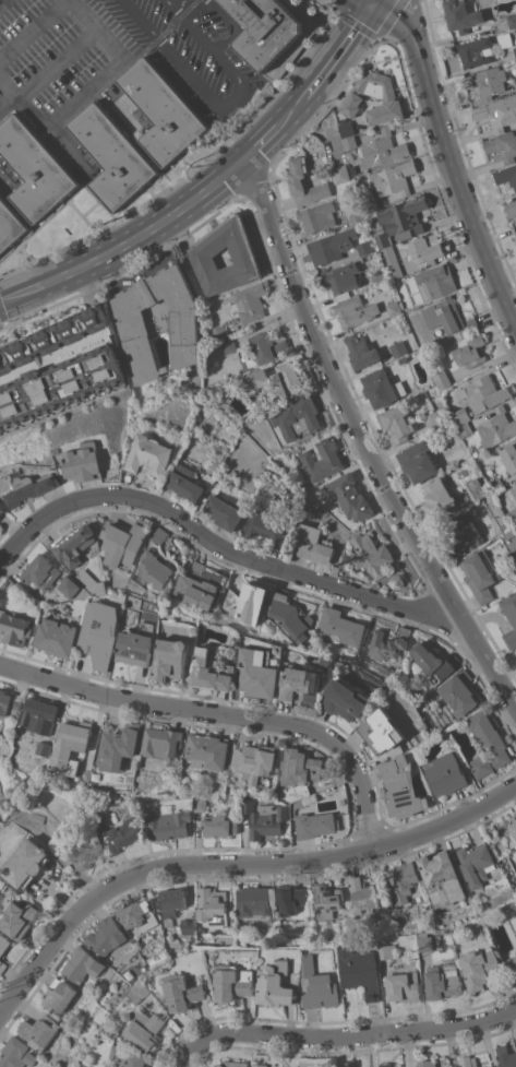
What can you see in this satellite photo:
road: (0, 0)
road: (372, 0)
road: (373, 0)
traffic signals: (373, 1)
road: (172, 5)
road: (182, 5)
road: (223, 14)
building: (461, 15)
road: (142, 19)
building: (512, 20)
road: (33, 28)
road: (196, 31)
building: (273, 31)
road: (370, 33)
road: (226, 39)
building: (515, 49)
building: (476, 51)
road: (344, 55)
road: (321, 56)
road: (233, 68)
building: (488, 81)
road: (199, 82)
road: (87, 87)
building: (353, 96)
road: (7, 102)
road: (323, 105)
building: (163, 110)
building: (499, 112)
building: (346, 126)
road: (252, 133)
road: (276, 137)
building: (349, 142)
building: (503, 145)
building: (382, 149)
road: (448, 155)
building: (112, 156)
road: (240, 161)
building: (34, 168)
building: (340, 173)
building: (506, 175)
building: (393, 178)
building: (304, 182)
building: (370, 201)
building: (511, 206)
building: (356, 214)
building: (317, 216)
building: (404, 216)
building: (10, 226)
road: (122, 230)
building: (515, 235)
building: (331, 246)
building: (363, 247)
building: (427, 248)
building: (386, 249)
road: (130, 251)
building: (204, 251)
road: (125, 271)
building: (379, 276)
building: (340, 277)
building: (437, 278)
building: (249, 301)
building: (394, 307)
building: (353, 310)
building: (452, 317)
road: (2, 318)
building: (218, 332)
building: (135, 334)
building: (52, 337)
building: (227, 344)
building: (398, 347)
building: (264, 349)
building: (361, 351)
building: (470, 351)
building: (403, 359)
building: (442, 378)
building: (254, 379)
building: (285, 381)
building: (60, 383)
building: (382, 387)
road: (337, 392)
building: (483, 393)
building: (297, 417)
building: (433, 419)
building: (145, 420)
building: (461, 420)
building: (396, 423)
building: (496, 427)
building: (149, 453)
building: (509, 457)
building: (322, 459)
building: (418, 460)
building: (84, 462)
building: (184, 482)
building: (496, 484)
building: (31, 487)
building: (476, 489)
building: (514, 490)
building: (348, 496)
building: (439, 497)
building: (2, 510)
building: (224, 511)
building: (512, 515)
building: (266, 527)
building: (464, 533)
building: (508, 533)
building: (158, 534)
building: (124, 542)
road: (215, 543)
building: (311, 543)
building: (75, 544)
building: (370, 554)
building: (154, 568)
building: (43, 571)
building: (201, 572)
building: (480, 574)
building: (92, 581)
building: (195, 586)
building: (75, 588)
building: (283, 590)
building: (251, 603)
building: (291, 618)
building: (509, 618)
building: (341, 625)
building: (14, 628)
building: (100, 632)
building: (57, 635)
building: (388, 643)
building: (135, 647)
road: (485, 655)
building: (171, 657)
building: (434, 662)
building: (363, 665)
building: (212, 672)
building: (259, 672)
building: (298, 681)
building: (458, 691)
building: (345, 699)
building: (11, 703)
building: (39, 714)
road: (225, 714)
building: (383, 733)
building: (161, 743)
building: (487, 743)
building: (71, 745)
building: (119, 746)
building: (45, 747)
building: (207, 750)
building: (255, 760)
building: (300, 766)
building: (445, 773)
building: (401, 787)
building: (199, 804)
building: (0, 813)
building: (36, 817)
building: (264, 817)
building: (97, 823)
building: (167, 823)
building: (315, 823)
building: (218, 825)
building: (513, 825)
building: (121, 835)
building: (495, 837)
building: (24, 863)
road: (235, 863)
building: (475, 864)
building: (442, 878)
building: (403, 880)
building: (364, 896)
building: (290, 898)
building: (326, 900)
building: (253, 901)
building: (171, 903)
building: (212, 905)
building: (139, 913)
building: (17, 918)
building: (188, 925)
building: (106, 935)
building: (425, 940)
building: (3, 944)
building: (387, 950)
building: (513, 962)
building: (2, 965)
building: (82, 967)
building: (481, 967)
building: (360, 971)
building: (233, 981)
building: (443, 981)
building: (276, 984)
building: (319, 985)
building: (404, 986)
building: (140, 991)
building: (182, 991)
building: (59, 994)
building: (109, 1004)
building: (145, 1027)
building: (39, 1030)
building: (110, 1030)
road: (341, 1038)
building: (16, 1053)
building: (128, 1056)
building: (506, 1056)
building: (468, 1060)
building: (428, 1063)
building: (231, 1064)
building: (385, 1064)
building: (259, 1065)
building: (346, 1065)
building: (83, 1066)

